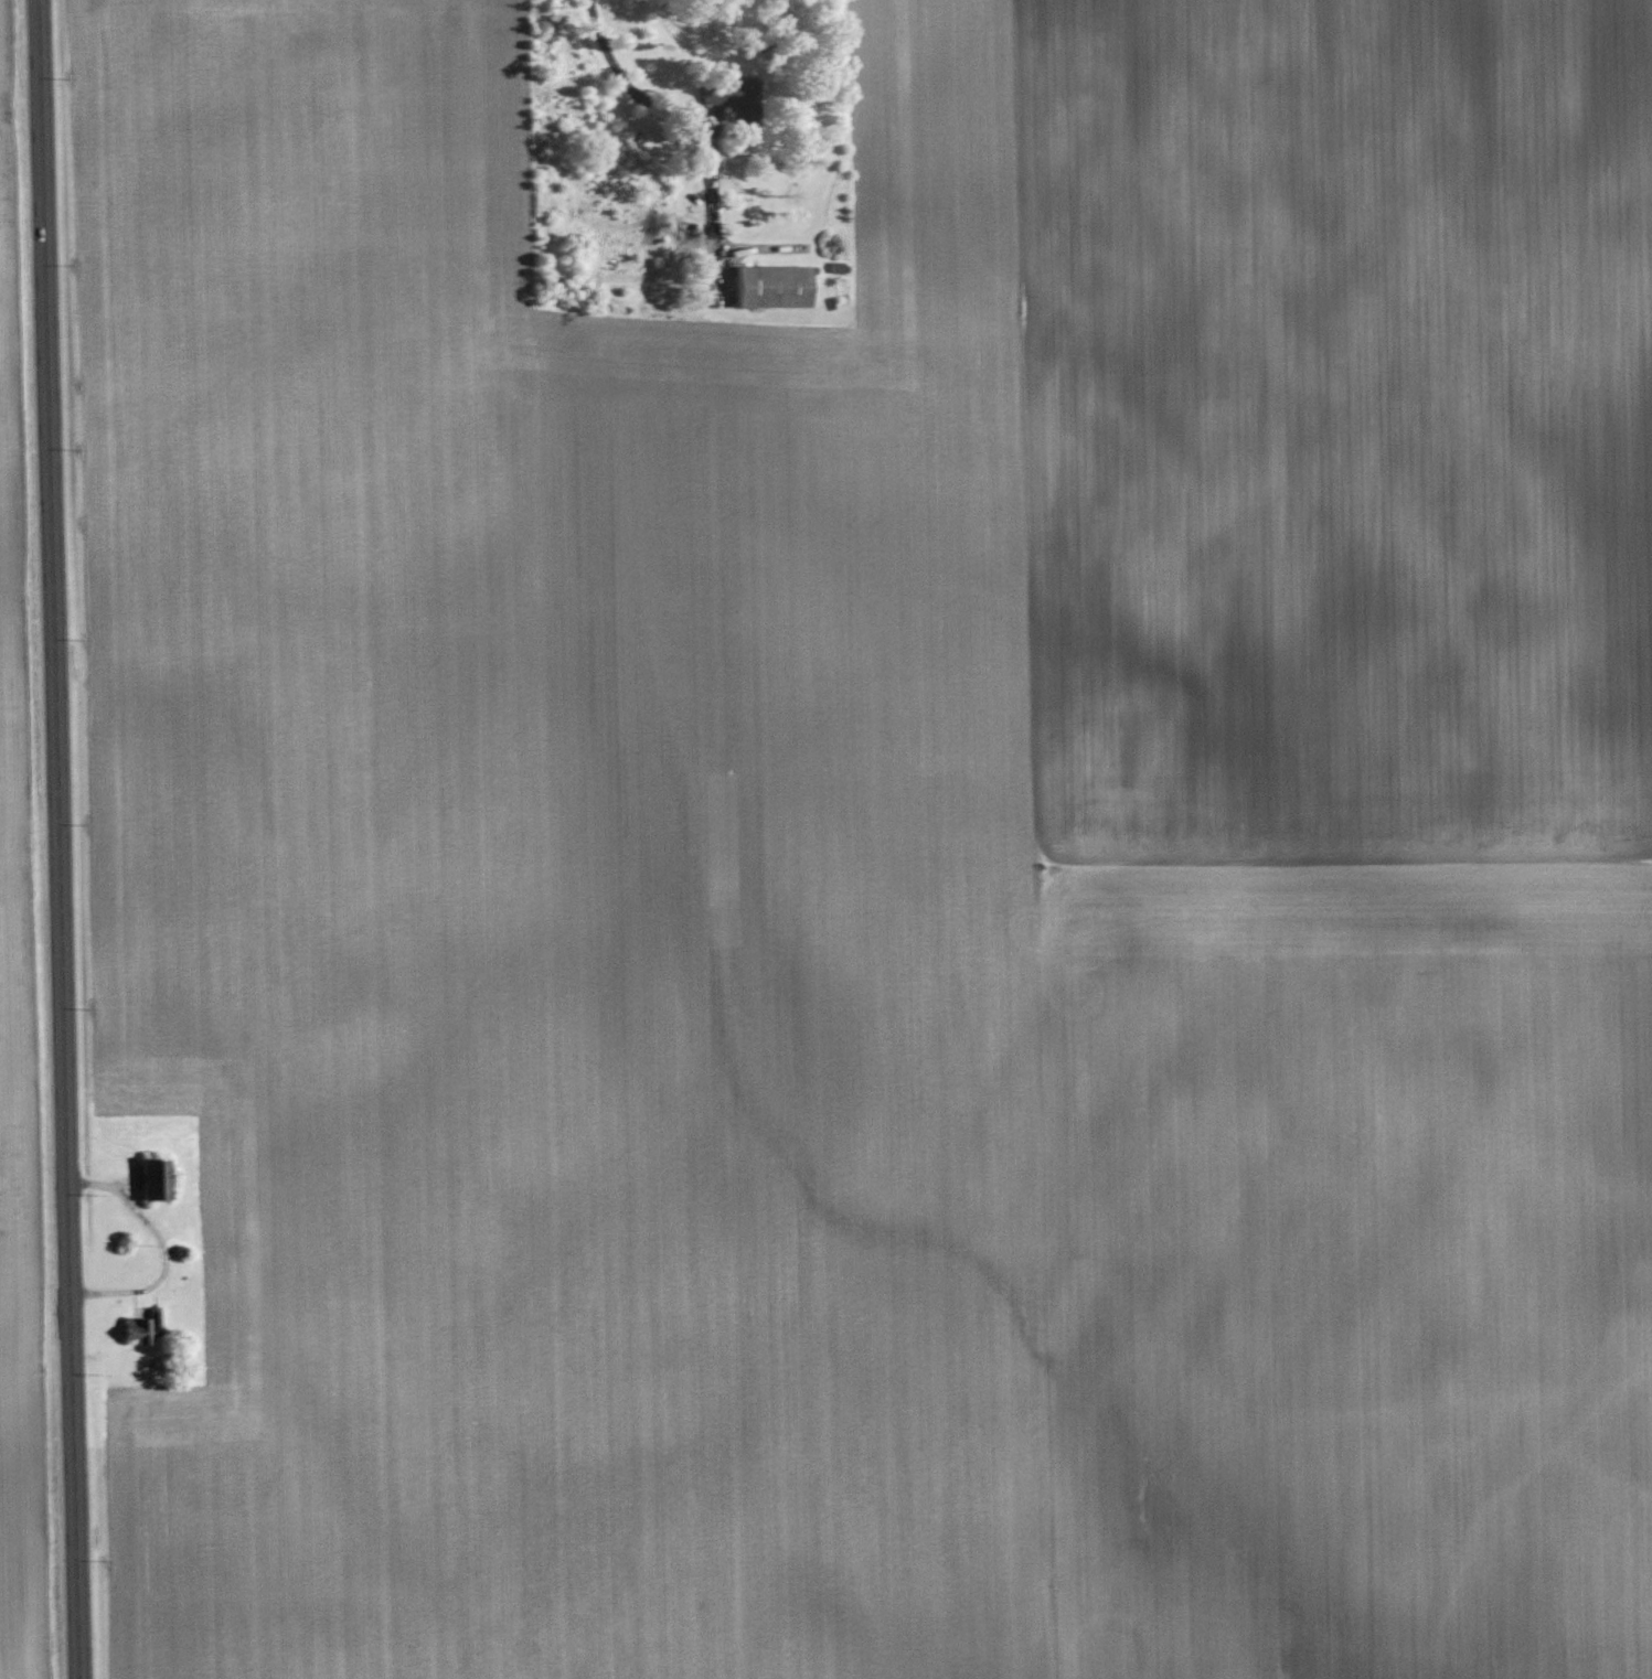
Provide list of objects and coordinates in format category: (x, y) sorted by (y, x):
building: (776, 285)
road: (57, 839)
building: (159, 1178)
building: (143, 1322)

